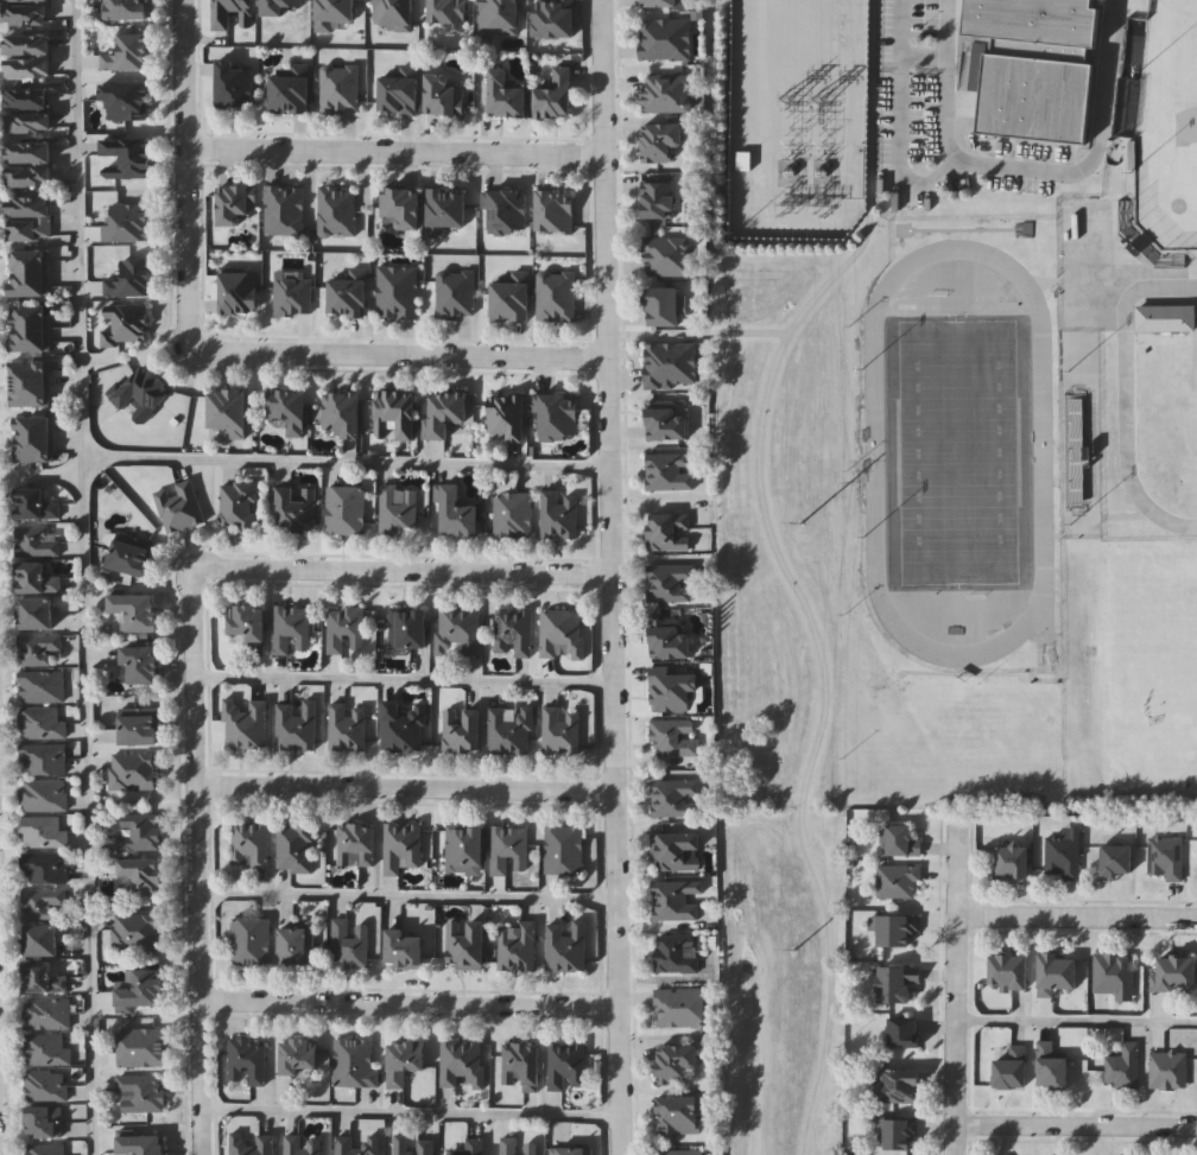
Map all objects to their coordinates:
building: (25, 1)
building: (664, 4)
building: (279, 7)
building: (126, 9)
building: (448, 12)
building: (25, 14)
building: (335, 14)
building: (394, 15)
building: (501, 15)
building: (555, 19)
building: (223, 21)
road: (945, 37)
building: (666, 40)
building: (26, 46)
building: (128, 53)
building: (1031, 66)
building: (27, 69)
building: (236, 84)
building: (340, 89)
building: (291, 90)
building: (400, 91)
building: (666, 94)
building: (556, 95)
building: (444, 96)
building: (507, 96)
building: (26, 100)
building: (127, 101)
power substation: (798, 119)
building: (27, 122)
park: (1166, 127)
building: (661, 141)
road: (394, 152)
building: (28, 153)
building: (126, 158)
road: (184, 171)
road: (1058, 173)
building: (28, 176)
building: (659, 199)
building: (235, 204)
building: (28, 208)
building: (401, 208)
building: (284, 211)
building: (445, 211)
building: (337, 212)
building: (507, 212)
building: (555, 212)
building: (128, 223)
road: (77, 227)
building: (28, 230)
building: (667, 258)
building: (28, 264)
building: (131, 280)
building: (28, 286)
building: (240, 292)
building: (398, 293)
building: (349, 296)
building: (456, 296)
building: (293, 298)
building: (557, 298)
building: (512, 299)
building: (664, 307)
building: (28, 318)
building: (1163, 319)
building: (125, 324)
building: (28, 342)
road: (399, 353)
building: (671, 367)
building: (28, 373)
building: (142, 393)
building: (28, 396)
road: (1127, 398)
building: (289, 411)
building: (229, 412)
building: (342, 414)
building: (395, 414)
building: (445, 414)
building: (558, 418)
building: (507, 419)
building: (667, 421)
building: (33, 429)
building: (33, 451)
park: (957, 452)
track: (957, 453)
track: (873, 455)
road: (346, 459)
road: (82, 464)
building: (670, 472)
road: (40, 474)
building: (36, 506)
building: (239, 506)
building: (179, 508)
building: (297, 510)
building: (346, 510)
building: (398, 512)
building: (458, 514)
building: (514, 516)
building: (559, 516)
building: (670, 533)
building: (36, 542)
building: (132, 556)
road: (401, 567)
road: (783, 567)
road: (608, 577)
building: (38, 580)
building: (671, 584)
building: (138, 613)
building: (37, 615)
building: (249, 623)
building: (408, 628)
building: (291, 630)
building: (346, 632)
building: (458, 632)
building: (514, 634)
building: (562, 635)
building: (670, 641)
building: (38, 651)
building: (141, 665)
park: (783, 673)
road: (403, 678)
building: (42, 688)
building: (673, 692)
building: (42, 724)
building: (246, 725)
building: (139, 728)
building: (297, 728)
building: (404, 728)
building: (348, 729)
building: (464, 732)
building: (562, 732)
building: (511, 734)
building: (676, 738)
building: (44, 761)
building: (133, 773)
road: (405, 787)
building: (44, 797)
building: (677, 800)
road: (87, 814)
building: (45, 832)
building: (140, 834)
building: (905, 843)
building: (251, 845)
building: (357, 845)
building: (465, 846)
building: (296, 849)
building: (401, 849)
building: (509, 851)
building: (564, 851)
building: (678, 853)
building: (1065, 855)
building: (1168, 858)
road: (195, 861)
building: (1015, 862)
building: (1120, 862)
building: (45, 869)
building: (144, 876)
building: (900, 881)
road: (405, 895)
building: (677, 902)
building: (42, 903)
road: (1076, 909)
building: (900, 931)
building: (135, 933)
building: (42, 941)
building: (251, 943)
building: (298, 945)
building: (349, 945)
building: (467, 946)
building: (518, 947)
building: (566, 948)
building: (405, 950)
building: (678, 954)
building: (1012, 972)
building: (1058, 973)
building: (1178, 975)
building: (1116, 976)
building: (44, 979)
building: (899, 983)
road: (952, 989)
building: (144, 991)
road: (406, 1002)
building: (680, 1008)
building: (47, 1015)
road: (1075, 1017)
building: (907, 1033)
building: (141, 1048)
building: (47, 1052)
building: (300, 1058)
building: (404, 1061)
building: (248, 1062)
building: (677, 1064)
building: (355, 1065)
building: (463, 1065)
building: (522, 1066)
building: (568, 1067)
building: (1125, 1067)
building: (1014, 1068)
building: (1053, 1068)
building: (1170, 1071)
building: (901, 1086)
building: (46, 1087)
building: (141, 1093)
road: (410, 1112)
building: (680, 1116)
road: (1073, 1119)
building: (45, 1124)
building: (902, 1135)
building: (252, 1144)
building: (141, 1146)
building: (303, 1146)
building: (356, 1146)
building: (413, 1146)
building: (475, 1147)
building: (519, 1147)
building: (50, 1150)
building: (572, 1151)
building: (680, 1153)

